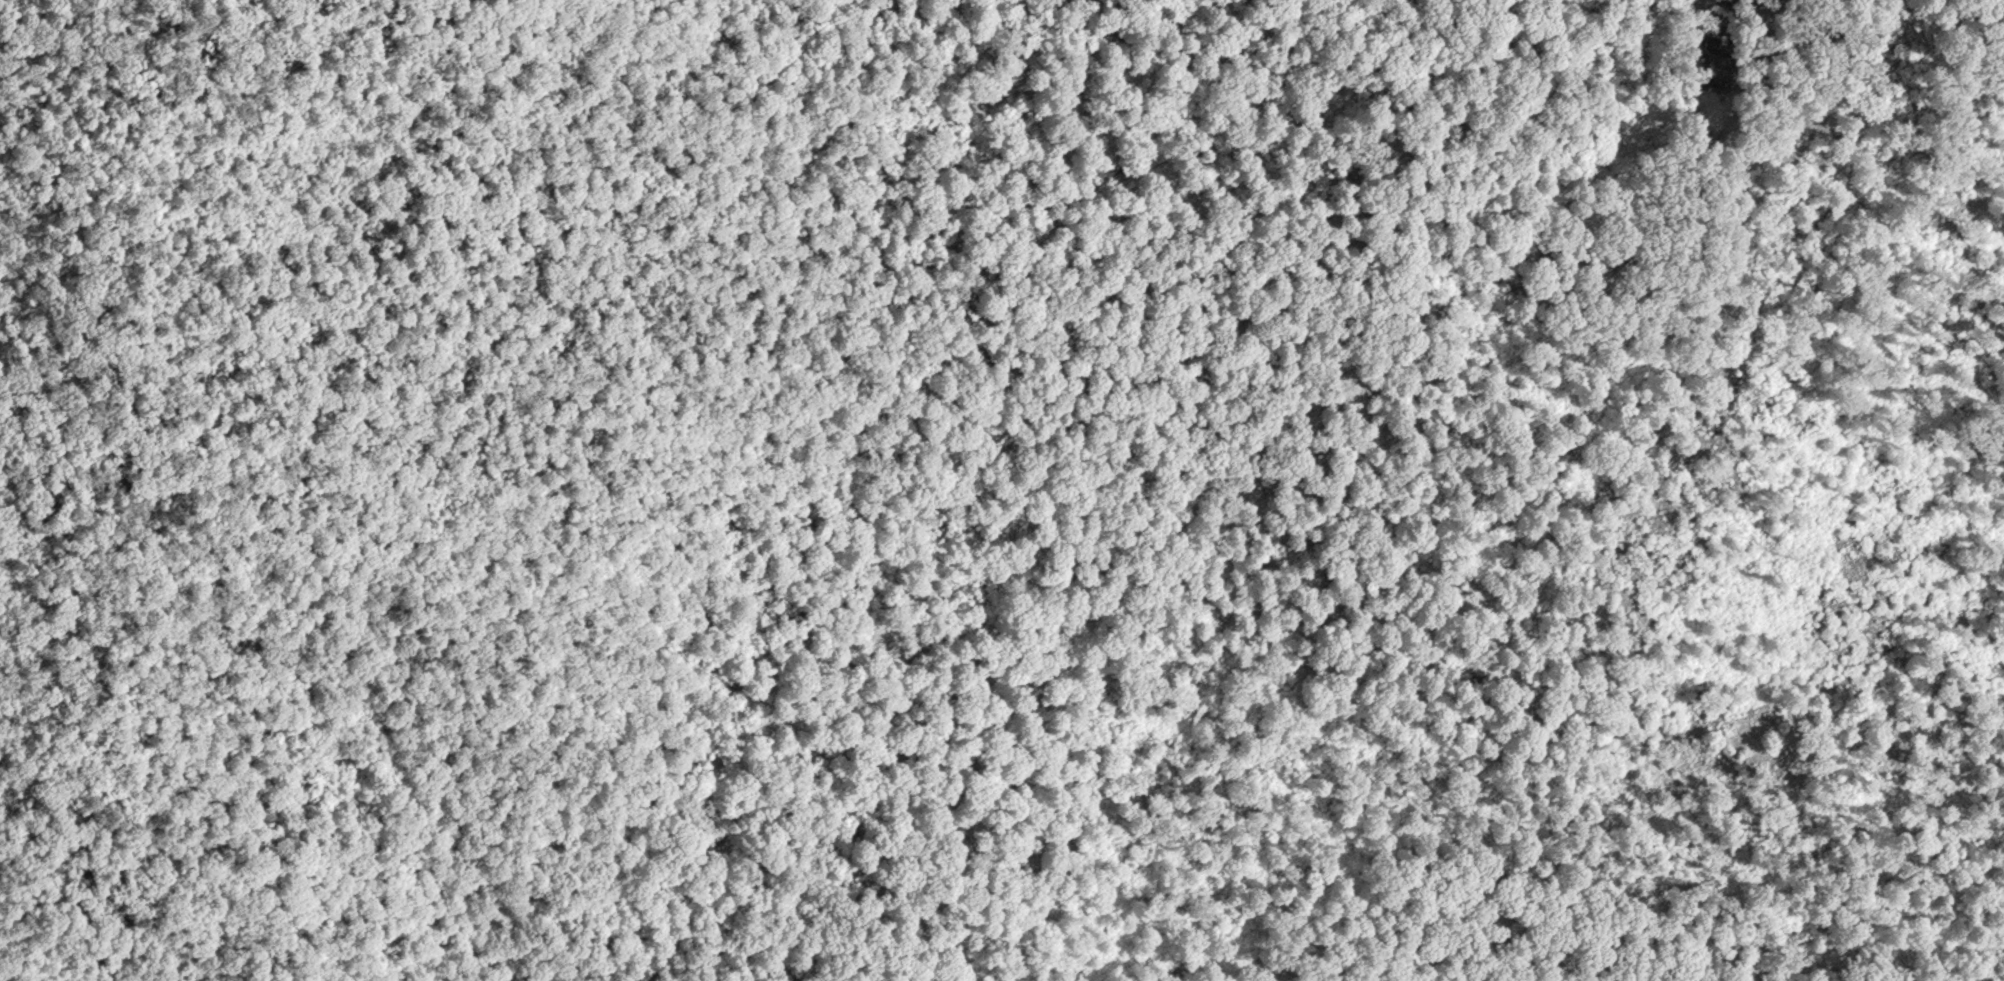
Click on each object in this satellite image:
building: (1719, 56)

